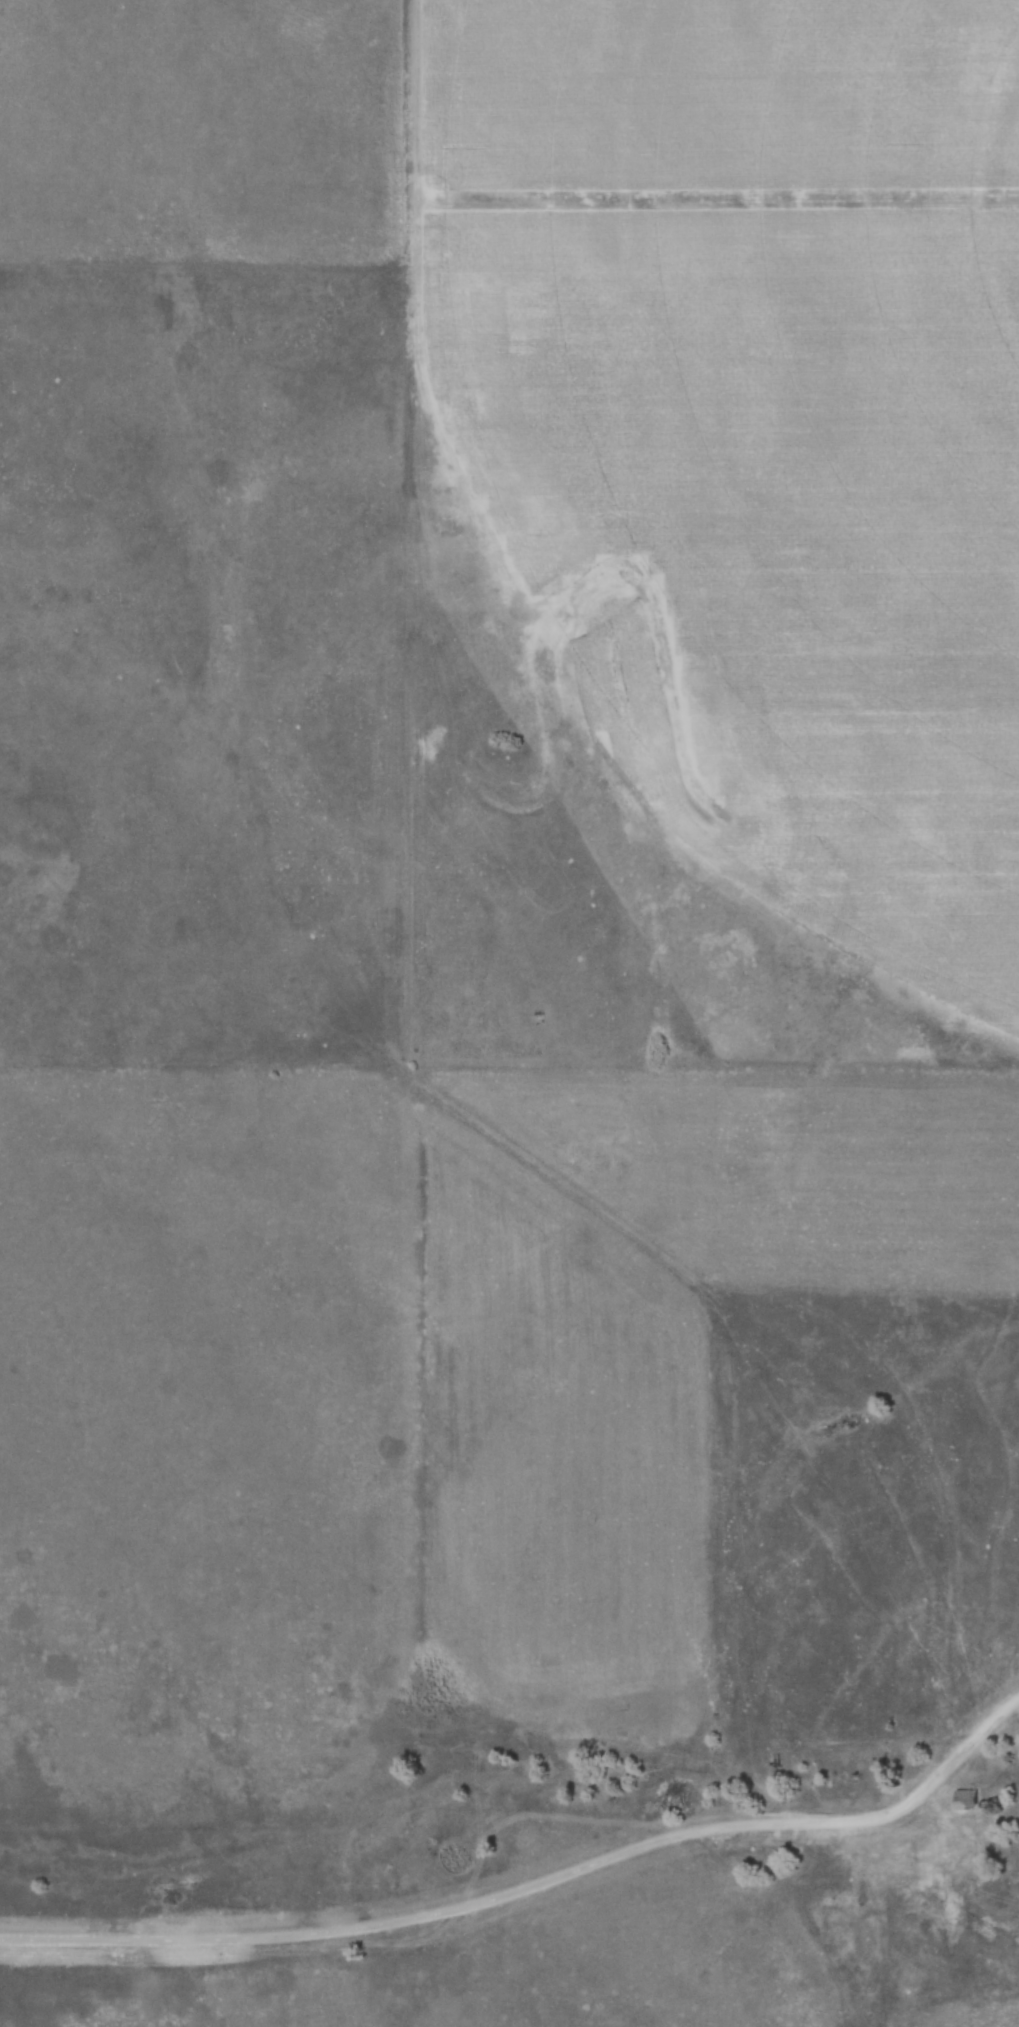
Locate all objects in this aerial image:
building: (967, 1800)
building: (977, 1844)
building: (907, 1851)
road: (473, 1878)

